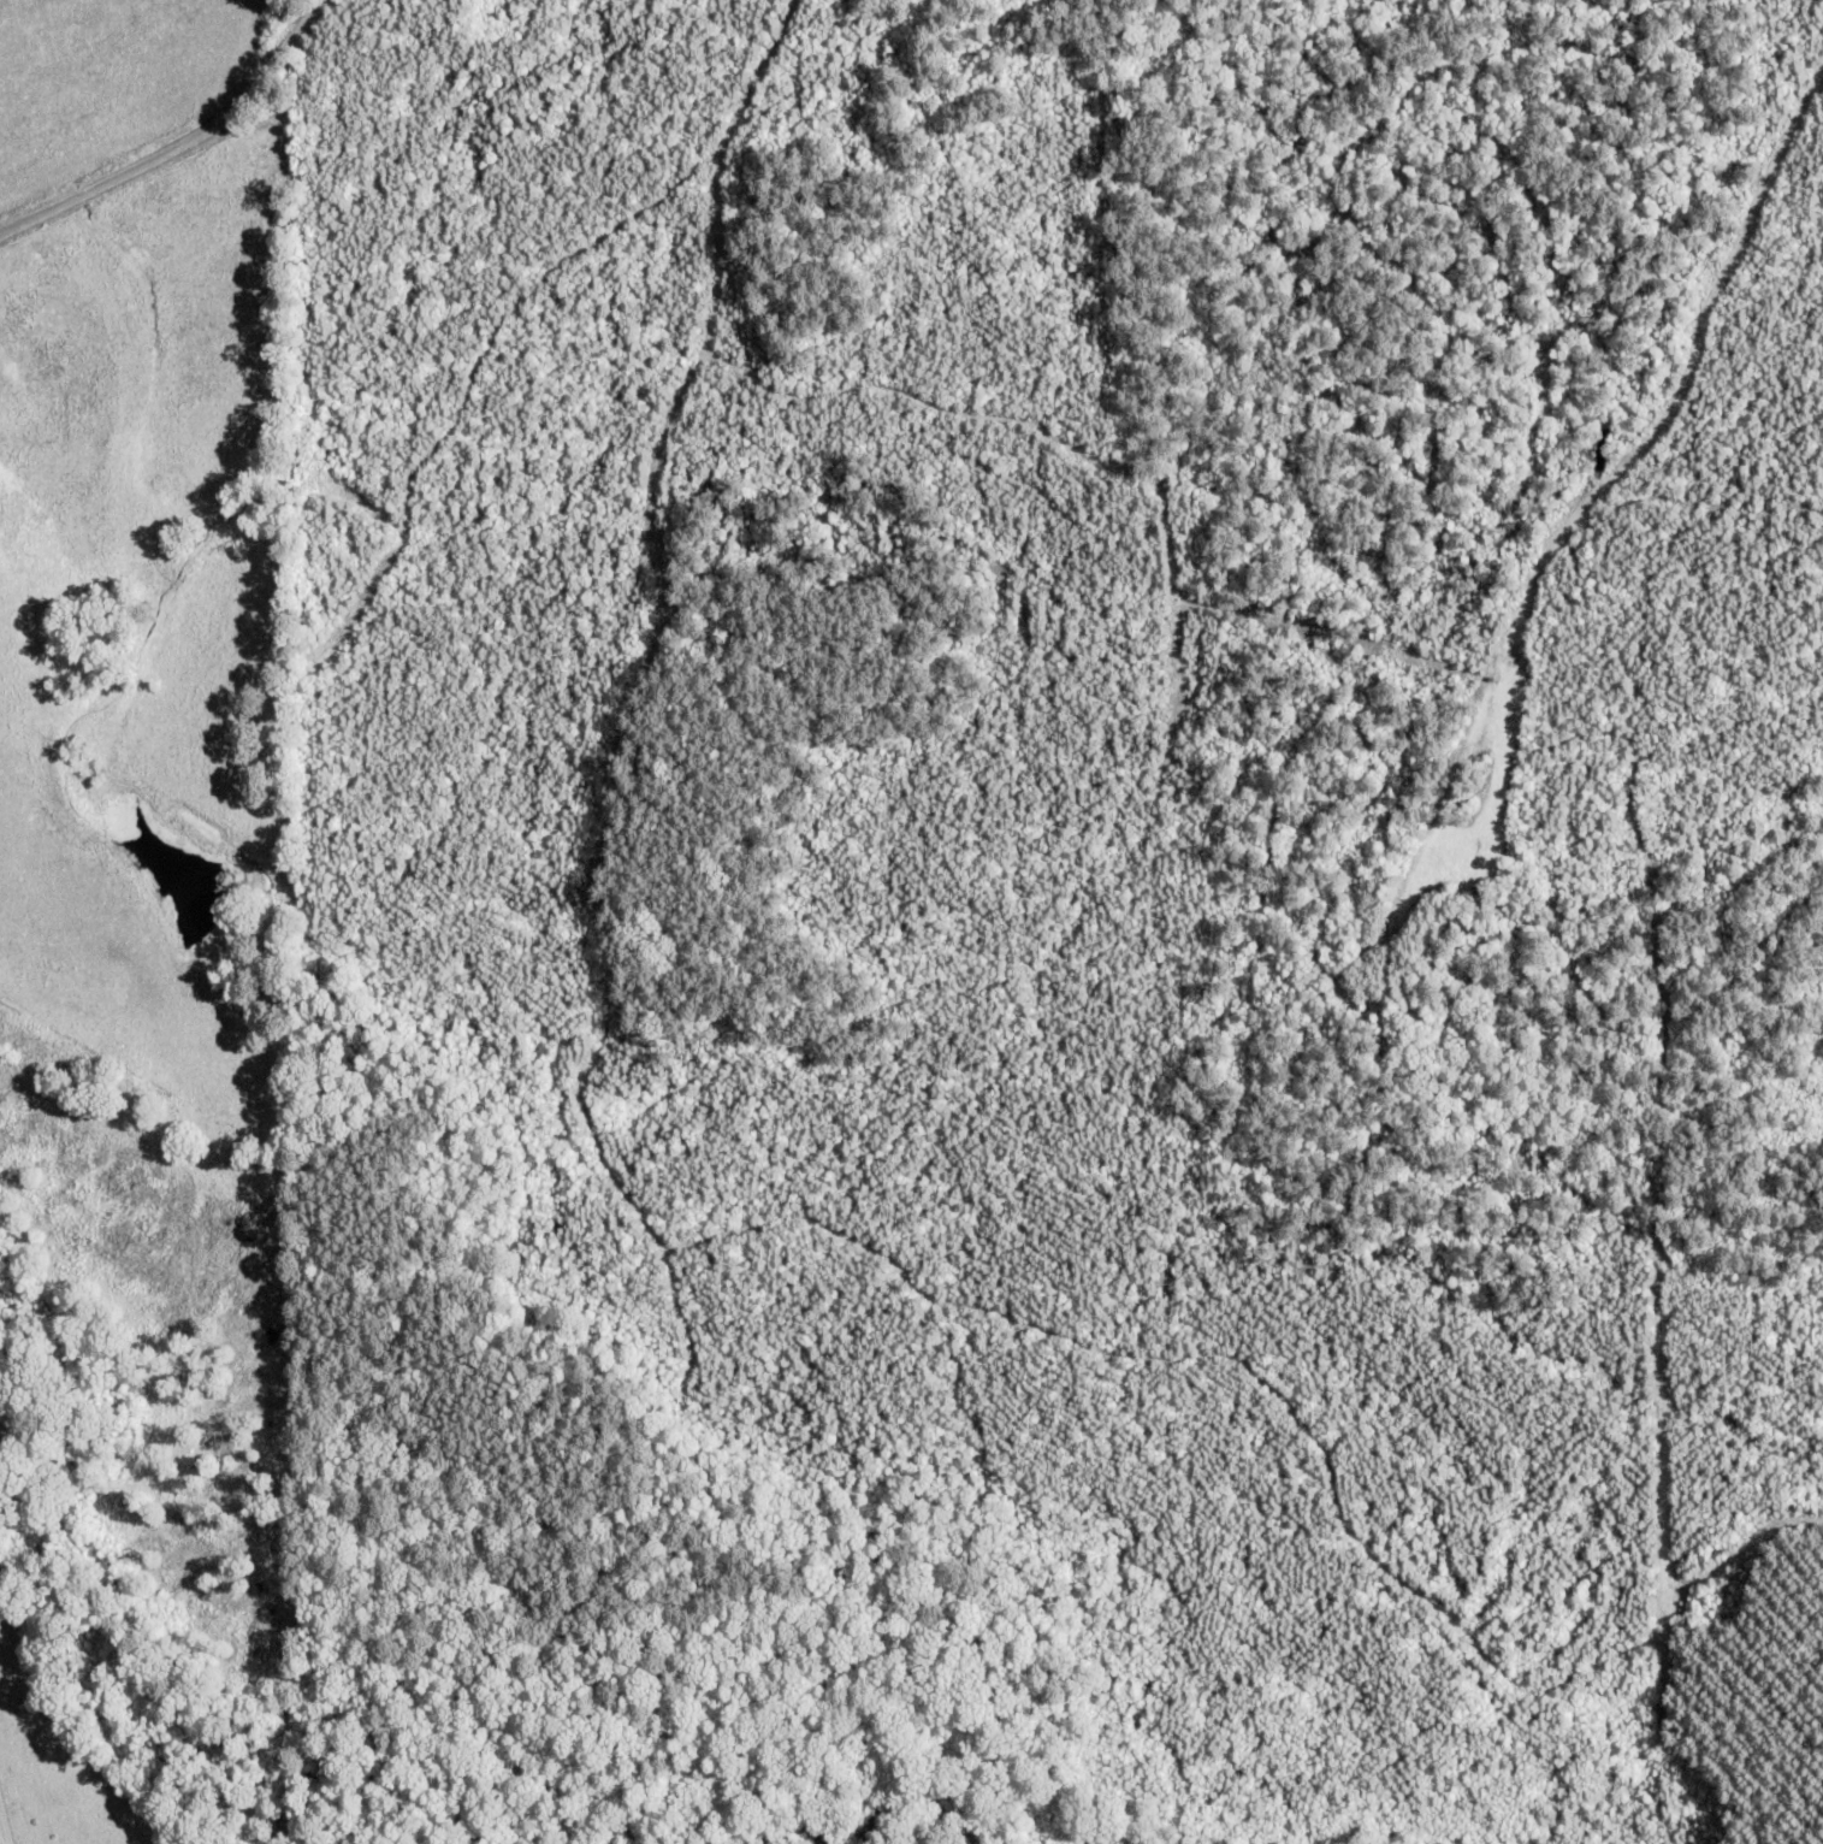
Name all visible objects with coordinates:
road: (179, 143)

